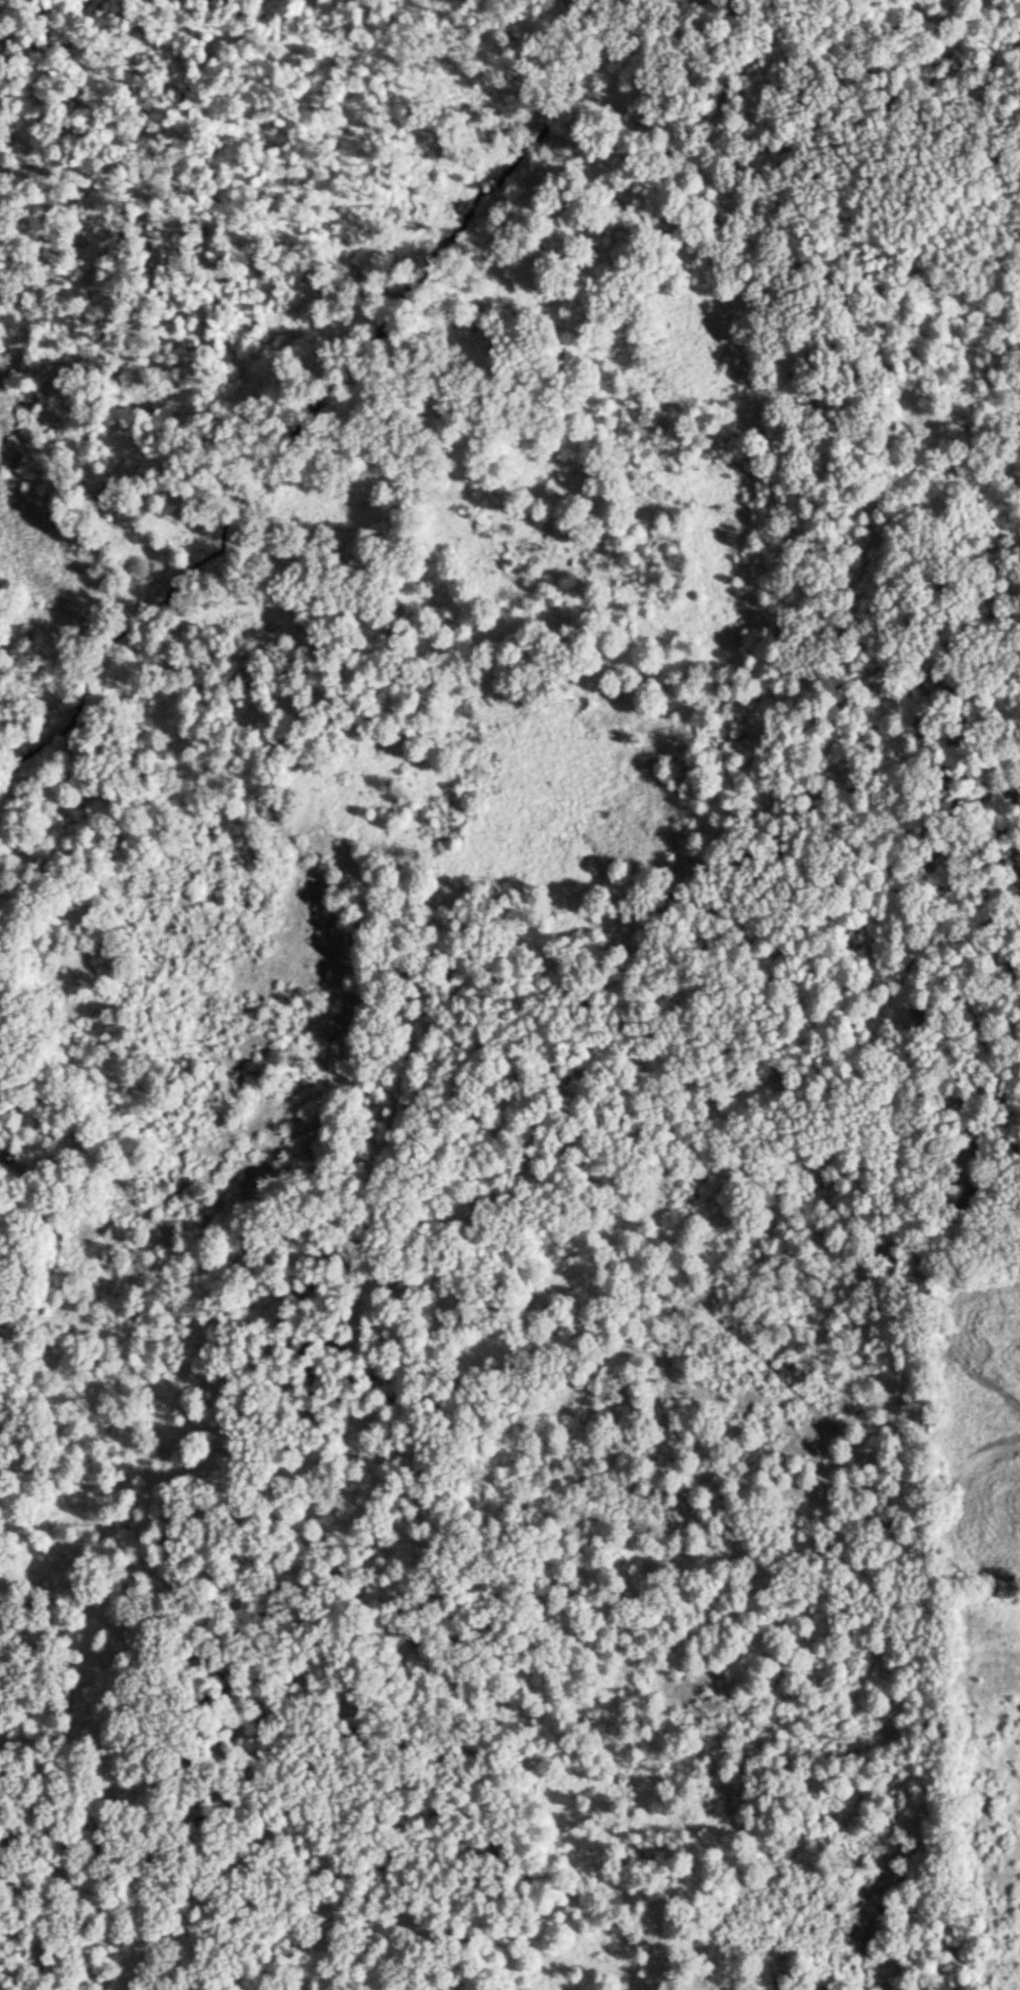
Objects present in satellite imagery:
crop: (997, 1440)

